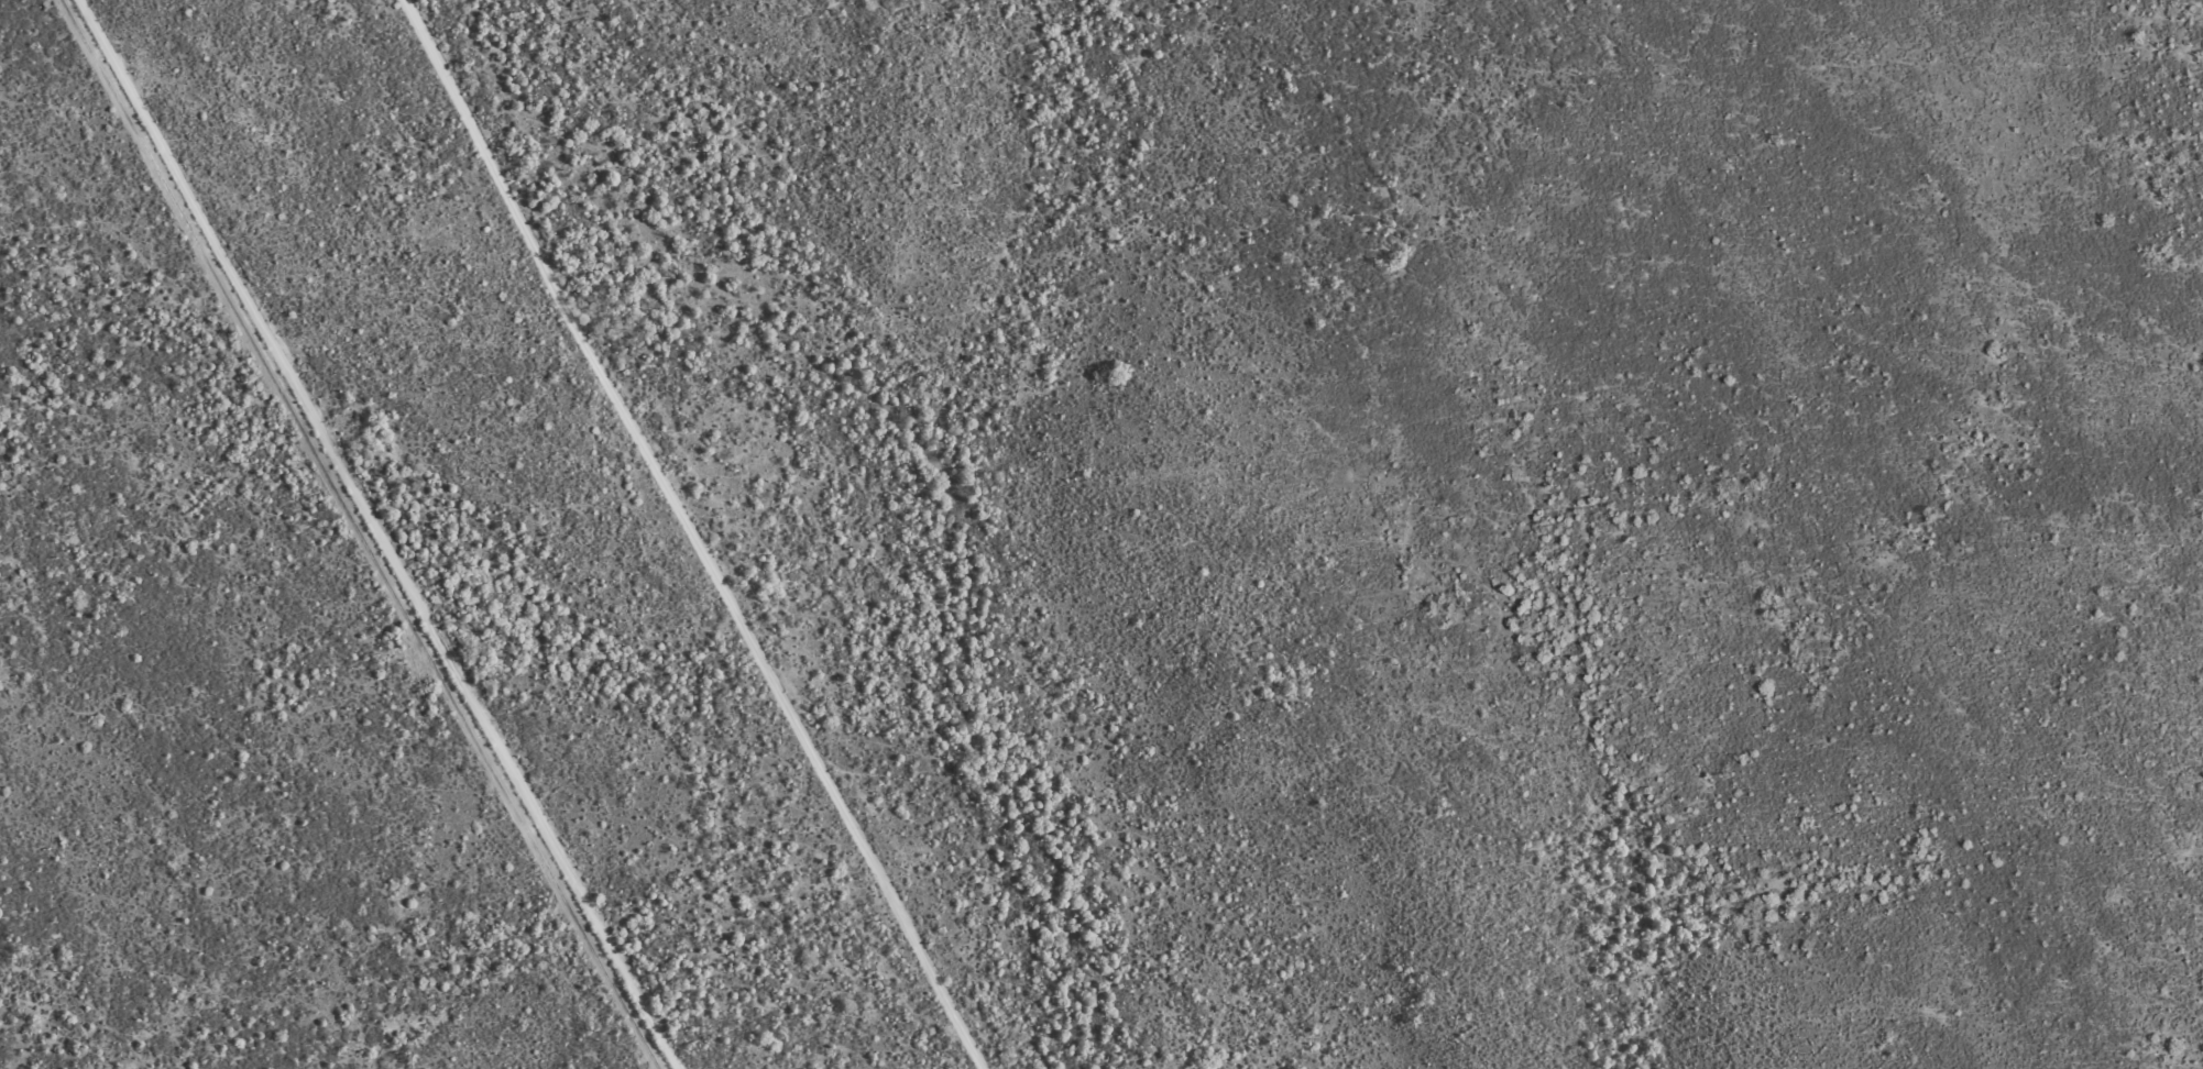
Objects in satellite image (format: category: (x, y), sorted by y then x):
road: (703, 536)

